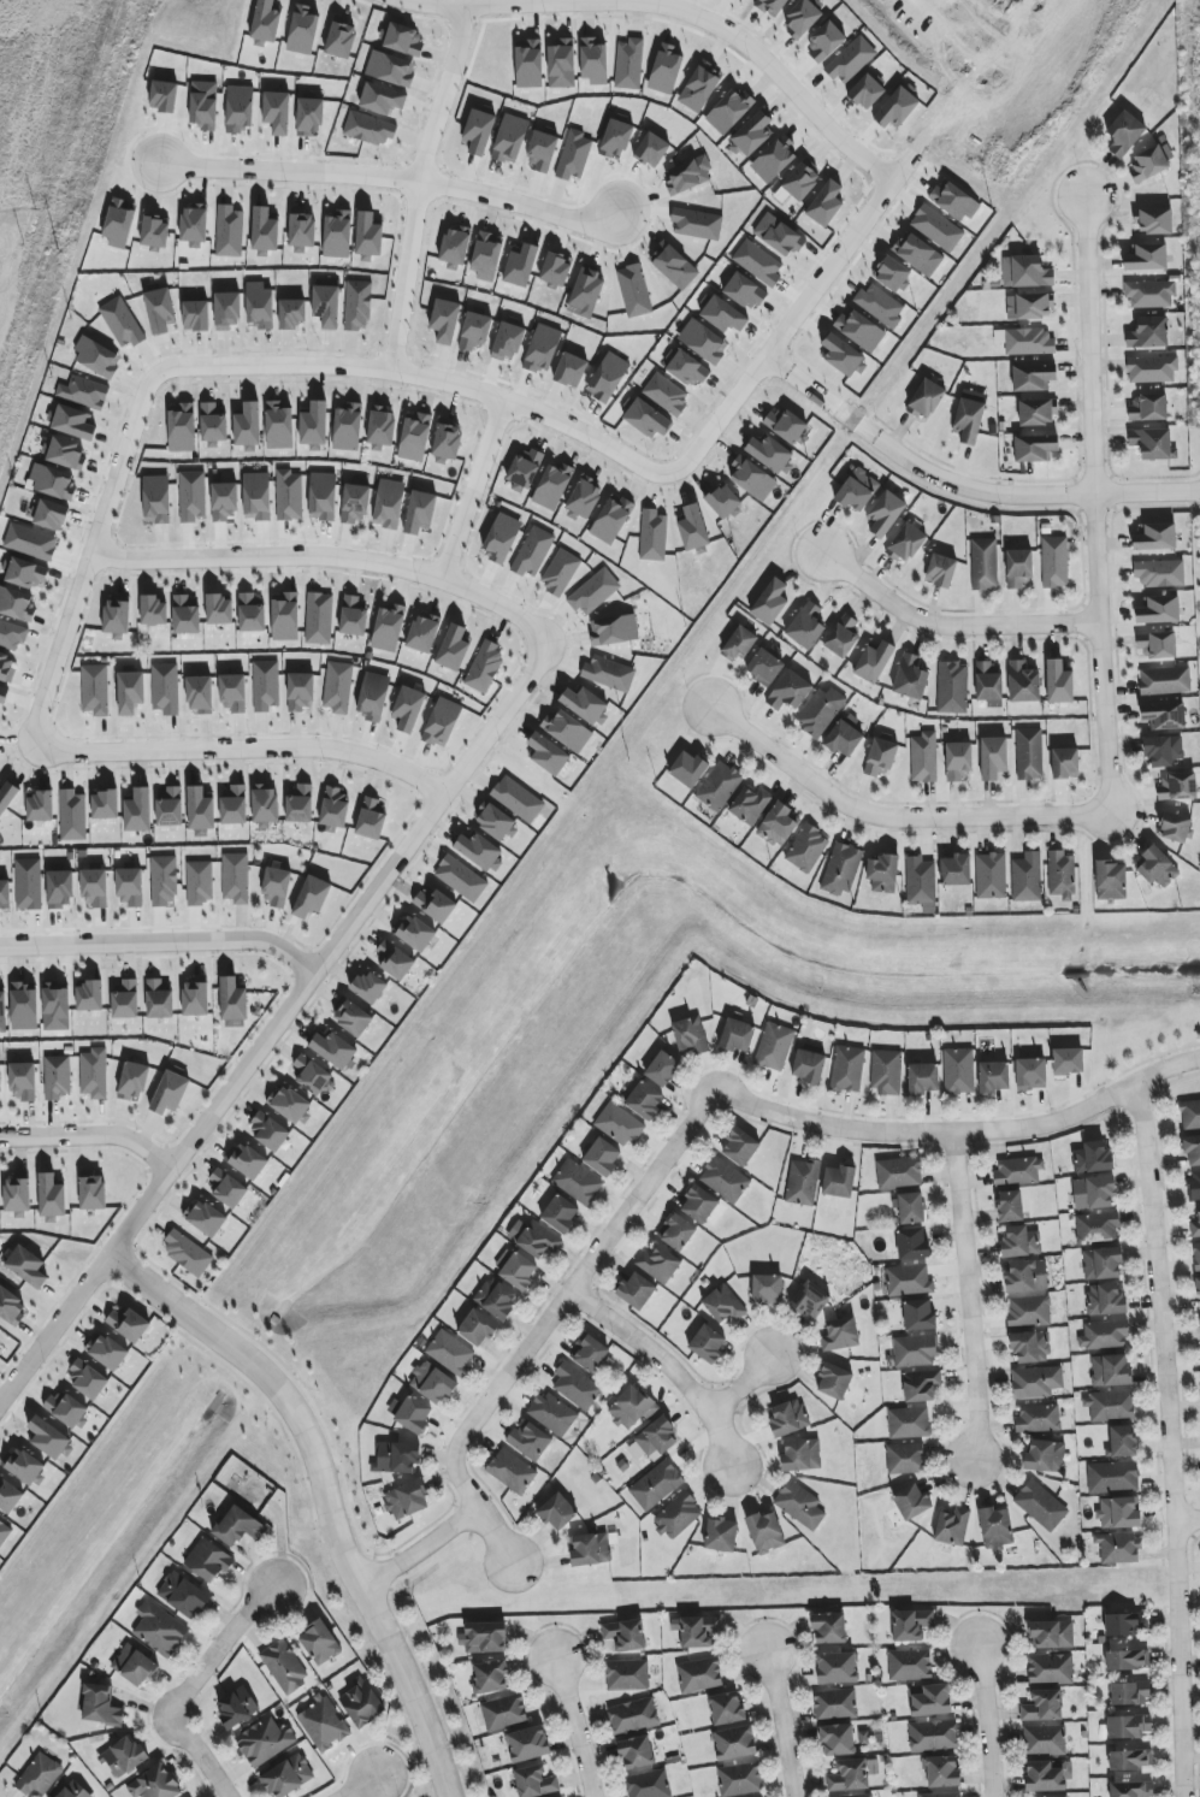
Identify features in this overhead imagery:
building: (747, 0)
building: (772, 6)
road: (670, 12)
road: (986, 16)
building: (802, 18)
building: (266, 20)
building: (302, 31)
building: (341, 40)
building: (403, 41)
building: (824, 41)
building: (851, 60)
building: (593, 61)
building: (528, 64)
building: (561, 64)
building: (628, 64)
building: (390, 70)
building: (666, 70)
building: (699, 87)
building: (867, 91)
building: (164, 96)
building: (382, 99)
building: (203, 105)
building: (240, 108)
building: (897, 108)
building: (729, 111)
building: (277, 112)
building: (309, 117)
building: (368, 129)
building: (478, 131)
building: (1124, 132)
building: (752, 135)
building: (509, 140)
building: (615, 140)
building: (651, 149)
building: (542, 152)
building: (574, 155)
building: (774, 159)
building: (1151, 162)
building: (688, 175)
road: (391, 178)
building: (802, 179)
road: (419, 189)
building: (954, 201)
building: (826, 203)
building: (1153, 220)
building: (696, 223)
building: (119, 224)
building: (194, 224)
building: (936, 227)
building: (229, 231)
building: (154, 232)
building: (264, 232)
building: (302, 232)
building: (337, 235)
building: (370, 236)
building: (780, 236)
road: (855, 238)
building: (454, 248)
building: (918, 254)
building: (486, 256)
building: (1146, 258)
building: (758, 262)
building: (521, 266)
building: (674, 266)
building: (556, 270)
building: (1025, 272)
building: (892, 273)
building: (634, 291)
building: (745, 291)
building: (586, 294)
building: (1149, 294)
building: (326, 305)
building: (880, 305)
building: (260, 306)
building: (1030, 306)
building: (160, 311)
building: (227, 311)
building: (291, 313)
building: (196, 315)
building: (723, 315)
building: (444, 320)
building: (122, 323)
building: (859, 330)
building: (474, 331)
building: (1148, 333)
building: (508, 341)
building: (703, 341)
building: (1028, 342)
building: (542, 349)
building: (843, 355)
building: (96, 357)
building: (686, 368)
building: (1152, 368)
building: (571, 371)
building: (608, 377)
building: (1033, 377)
road: (428, 379)
building: (83, 392)
building: (666, 394)
building: (926, 398)
building: (1148, 408)
building: (1038, 412)
building: (646, 419)
building: (969, 420)
building: (73, 422)
building: (248, 425)
building: (787, 425)
building: (213, 426)
building: (278, 426)
building: (314, 426)
building: (182, 427)
building: (347, 427)
building: (382, 427)
building: (415, 438)
building: (1153, 443)
building: (447, 444)
building: (1035, 448)
building: (66, 454)
building: (770, 454)
building: (524, 469)
building: (752, 478)
building: (52, 481)
building: (552, 486)
road: (963, 486)
building: (857, 490)
road: (473, 491)
building: (191, 496)
building: (256, 496)
building: (289, 496)
building: (323, 497)
building: (584, 498)
building: (156, 500)
building: (224, 501)
building: (723, 501)
building: (355, 503)
building: (389, 504)
road: (1096, 507)
building: (420, 513)
building: (885, 513)
building: (51, 515)
building: (611, 519)
building: (693, 528)
building: (652, 536)
building: (501, 537)
building: (1155, 537)
building: (30, 542)
building: (906, 543)
road: (91, 549)
building: (533, 552)
road: (325, 560)
building: (1054, 562)
building: (985, 563)
building: (1019, 568)
building: (940, 571)
building: (560, 573)
building: (1159, 573)
building: (25, 574)
building: (593, 592)
building: (770, 602)
building: (16, 604)
building: (219, 610)
building: (1159, 610)
building: (153, 611)
building: (252, 614)
building: (185, 615)
building: (285, 616)
building: (353, 616)
building: (117, 619)
building: (319, 619)
building: (806, 626)
road: (950, 626)
building: (388, 628)
building: (613, 629)
building: (424, 633)
building: (11, 636)
building: (843, 636)
building: (738, 644)
building: (1155, 645)
building: (453, 649)
building: (874, 662)
building: (485, 667)
building: (764, 667)
building: (6, 668)
building: (609, 673)
building: (911, 678)
building: (1165, 680)
building: (988, 682)
building: (1023, 682)
building: (1059, 682)
building: (266, 686)
building: (338, 687)
building: (952, 687)
building: (165, 688)
building: (95, 690)
building: (790, 691)
building: (131, 692)
building: (301, 692)
building: (234, 693)
building: (200, 694)
building: (4, 696)
building: (373, 696)
building: (586, 705)
building: (408, 709)
building: (821, 711)
building: (1164, 715)
building: (443, 723)
building: (567, 731)
building: (844, 738)
road: (243, 747)
building: (1163, 750)
building: (1029, 753)
building: (548, 755)
building: (881, 757)
building: (923, 757)
building: (993, 757)
building: (958, 762)
building: (1065, 763)
building: (688, 769)
building: (719, 786)
building: (1177, 787)
building: (7, 796)
building: (518, 799)
building: (104, 804)
building: (265, 804)
building: (300, 804)
building: (234, 805)
building: (750, 805)
building: (40, 806)
building: (170, 806)
building: (200, 809)
building: (335, 809)
building: (138, 811)
building: (72, 816)
building: (371, 817)
road: (892, 818)
building: (495, 821)
building: (779, 823)
building: (1175, 827)
building: (806, 849)
building: (478, 851)
building: (1157, 868)
building: (841, 869)
building: (956, 870)
building: (882, 873)
building: (991, 875)
building: (1060, 875)
building: (236, 877)
building: (1027, 877)
building: (461, 879)
building: (164, 880)
building: (920, 881)
building: (1111, 881)
building: (200, 882)
building: (28, 885)
building: (94, 887)
building: (130, 887)
building: (276, 887)
building: (60, 888)
building: (5, 895)
building: (312, 897)
building: (435, 904)
building: (415, 934)
road: (197, 941)
road: (36, 945)
building: (394, 960)
building: (370, 987)
building: (89, 997)
building: (195, 998)
building: (125, 1000)
building: (159, 1000)
building: (234, 1004)
building: (24, 1006)
building: (55, 1006)
building: (2, 1011)
building: (351, 1018)
road: (277, 1027)
building: (737, 1035)
building: (690, 1036)
building: (774, 1046)
building: (333, 1050)
building: (1068, 1062)
building: (809, 1066)
building: (662, 1069)
building: (847, 1069)
building: (886, 1071)
building: (959, 1071)
building: (94, 1074)
building: (309, 1074)
building: (1030, 1074)
building: (58, 1077)
building: (993, 1077)
building: (922, 1078)
building: (23, 1081)
building: (0, 1082)
building: (132, 1082)
building: (170, 1093)
building: (644, 1100)
building: (289, 1105)
building: (1190, 1113)
road: (690, 1119)
building: (620, 1124)
building: (267, 1131)
road: (91, 1135)
building: (740, 1147)
building: (1192, 1149)
building: (602, 1157)
building: (1093, 1158)
building: (248, 1161)
building: (1018, 1171)
building: (899, 1172)
building: (725, 1180)
building: (839, 1181)
building: (577, 1182)
building: (803, 1182)
building: (1194, 1186)
building: (226, 1188)
building: (93, 1193)
building: (1094, 1193)
building: (17, 1198)
building: (51, 1198)
building: (699, 1205)
building: (1010, 1206)
building: (910, 1207)
building: (561, 1214)
building: (203, 1218)
building: (1195, 1226)
building: (1096, 1228)
building: (676, 1231)
building: (538, 1240)
building: (1021, 1242)
building: (912, 1243)
building: (187, 1253)
building: (1196, 1255)
building: (658, 1264)
building: (1101, 1264)
building: (26, 1266)
building: (519, 1271)
building: (1025, 1276)
building: (909, 1281)
building: (1198, 1287)
building: (767, 1289)
building: (636, 1290)
road: (965, 1297)
building: (496, 1299)
building: (810, 1300)
building: (1105, 1300)
building: (723, 1304)
building: (11, 1307)
building: (1029, 1311)
building: (1199, 1314)
building: (918, 1316)
building: (128, 1324)
building: (477, 1329)
building: (840, 1334)
building: (1104, 1335)
building: (708, 1343)
road: (643, 1346)
building: (1030, 1347)
building: (915, 1350)
building: (106, 1352)
building: (450, 1353)
building: (592, 1355)
building: (1111, 1370)
building: (87, 1379)
building: (834, 1382)
building: (1036, 1382)
building: (432, 1383)
road: (739, 1384)
building: (921, 1385)
building: (577, 1387)
building: (1109, 1405)
building: (631, 1407)
building: (67, 1411)
building: (552, 1414)
building: (414, 1415)
building: (788, 1418)
building: (1038, 1418)
building: (909, 1423)
building: (48, 1438)
road: (719, 1438)
building: (654, 1440)
building: (530, 1442)
building: (1122, 1442)
road: (1169, 1443)
building: (802, 1455)
building: (1045, 1456)
building: (398, 1458)
building: (905, 1459)
building: (24, 1466)
building: (512, 1472)
building: (1112, 1477)
building: (656, 1485)
road: (324, 1492)
building: (8, 1496)
building: (407, 1500)
building: (911, 1501)
building: (799, 1505)
building: (1041, 1505)
building: (557, 1512)
building: (1118, 1513)
building: (678, 1515)
road: (1187, 1518)
building: (952, 1526)
building: (238, 1527)
building: (995, 1527)
building: (4, 1532)
building: (764, 1532)
building: (721, 1535)
road: (416, 1549)
building: (591, 1549)
building: (1118, 1549)
building: (208, 1561)
building: (184, 1596)
building: (1125, 1624)
building: (911, 1625)
building: (829, 1628)
building: (159, 1630)
building: (696, 1631)
building: (625, 1635)
building: (1051, 1635)
building: (484, 1638)
building: (320, 1643)
building: (1128, 1660)
building: (910, 1665)
building: (135, 1666)
building: (284, 1667)
building: (837, 1667)
building: (1050, 1668)
building: (627, 1675)
building: (699, 1675)
building: (491, 1677)
road: (189, 1685)
building: (1129, 1693)
building: (930, 1700)
building: (834, 1703)
building: (361, 1704)
building: (100, 1706)
building: (1042, 1706)
building: (236, 1708)
building: (726, 1708)
building: (504, 1712)
building: (633, 1716)
road: (983, 1721)
building: (321, 1724)
road: (780, 1725)
building: (1129, 1726)
road: (572, 1728)
building: (933, 1736)
building: (863, 1737)
building: (837, 1739)
building: (1044, 1739)
building: (264, 1742)
building: (734, 1743)
building: (528, 1744)
building: (636, 1752)
building: (124, 1757)
building: (1130, 1760)
building: (941, 1771)
building: (849, 1775)
building: (1047, 1775)
building: (39, 1777)
building: (288, 1777)
building: (740, 1779)
building: (536, 1783)
building: (154, 1784)
building: (648, 1784)
road: (359, 1787)
building: (1130, 1789)
building: (73, 1791)
building: (941, 1795)
building: (853, 1796)
building: (1056, 1796)

